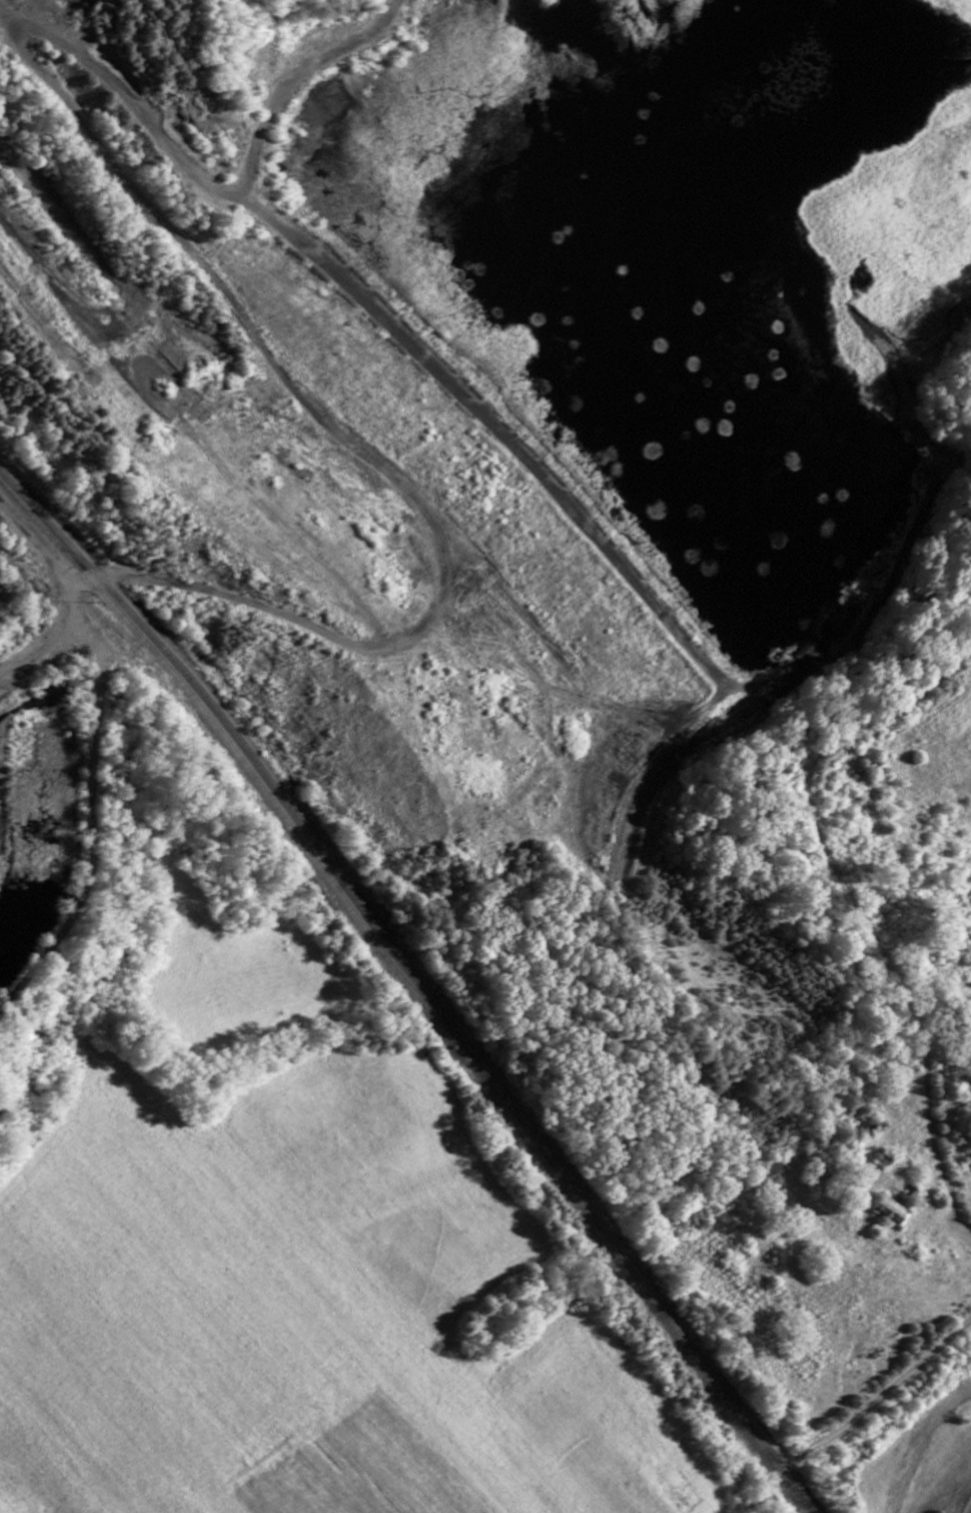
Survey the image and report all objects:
road: (326, 433)
railway: (410, 988)

